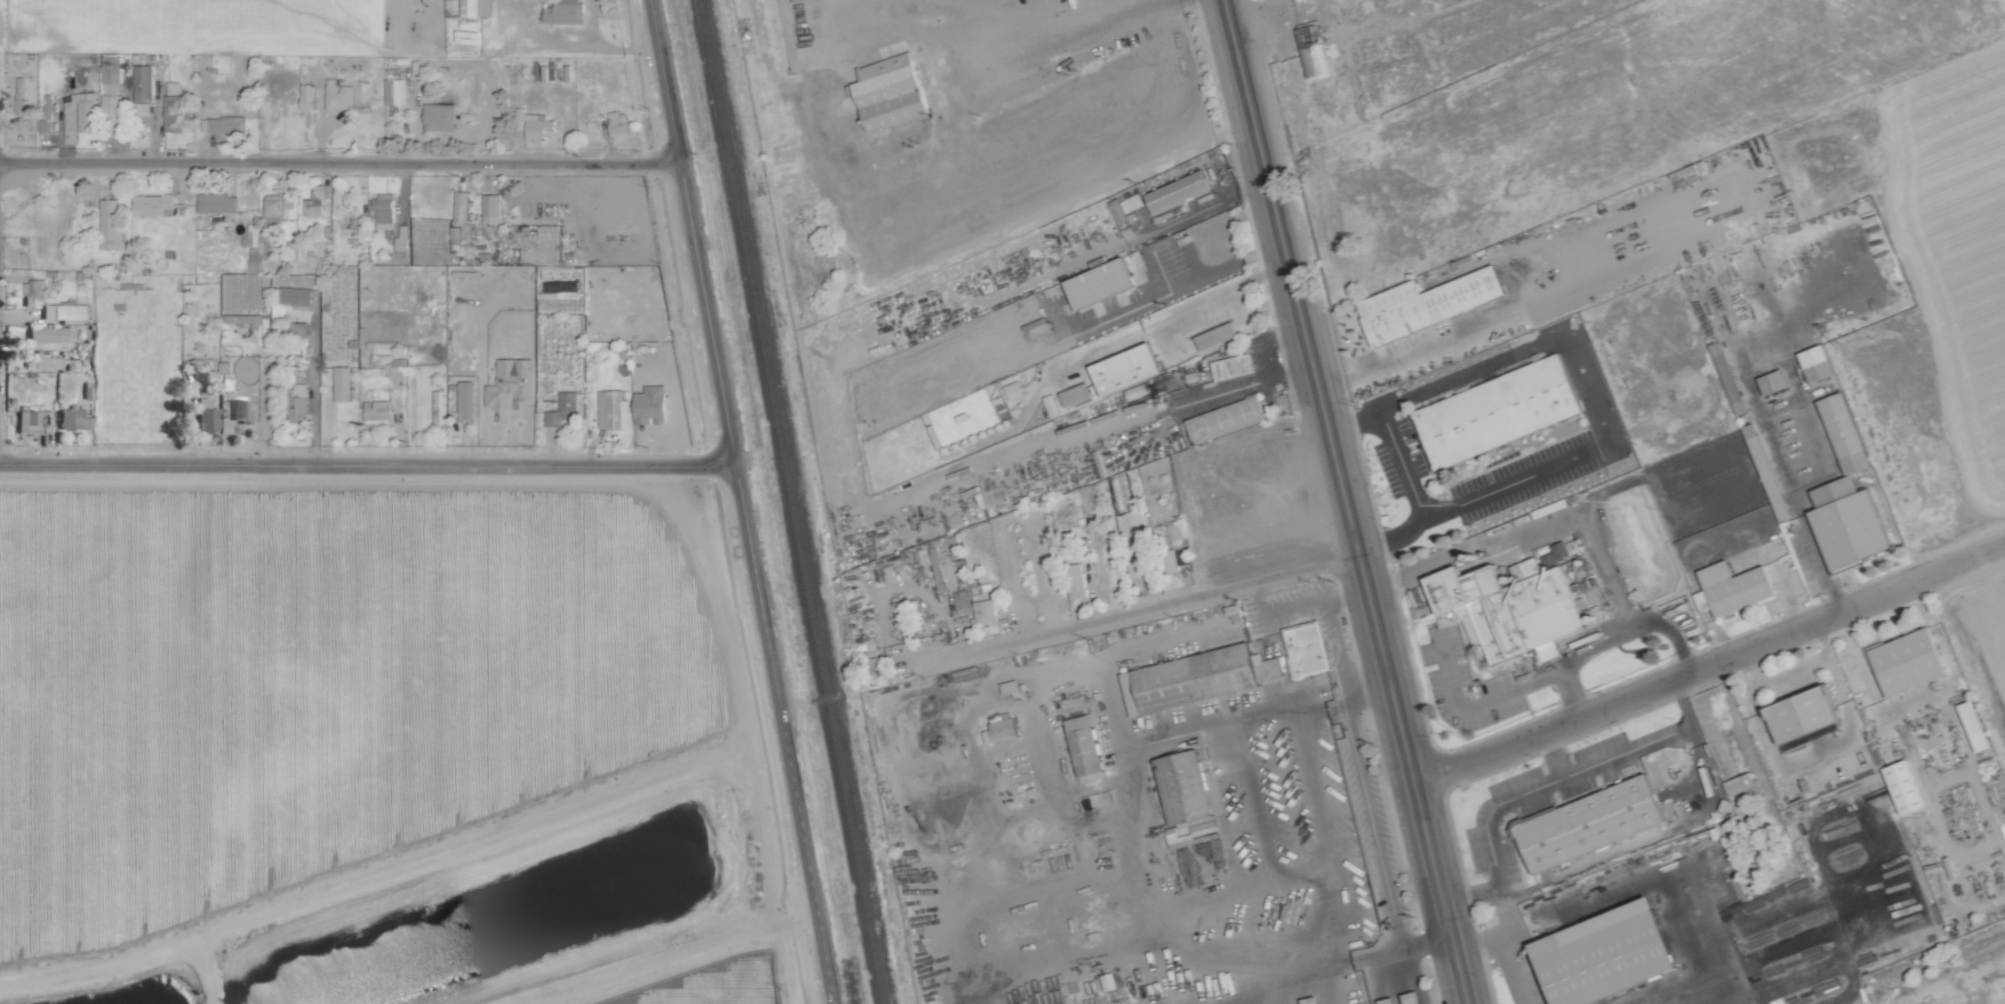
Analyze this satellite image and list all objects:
building: (477, 8)
building: (565, 12)
road: (1050, 36)
building: (1312, 50)
building: (145, 89)
building: (396, 91)
building: (892, 92)
building: (340, 94)
building: (21, 95)
building: (309, 96)
building: (174, 107)
building: (88, 111)
building: (52, 112)
building: (440, 116)
building: (620, 123)
building: (224, 125)
building: (539, 126)
road: (339, 162)
building: (1180, 191)
building: (218, 203)
building: (153, 204)
building: (314, 205)
building: (461, 205)
building: (274, 206)
building: (1125, 207)
building: (492, 208)
building: (385, 210)
building: (111, 224)
road: (691, 233)
building: (403, 236)
building: (259, 251)
building: (1104, 281)
building: (298, 297)
building: (1429, 303)
building: (54, 305)
road: (1254, 311)
road: (1168, 315)
building: (243, 318)
building: (53, 335)
building: (1217, 335)
road: (1574, 347)
building: (43, 363)
building: (1819, 363)
building: (1233, 366)
building: (1130, 369)
building: (226, 376)
building: (1730, 377)
building: (512, 382)
building: (1777, 382)
building: (344, 383)
road: (1434, 385)
building: (1015, 390)
road: (1317, 390)
building: (1076, 394)
building: (467, 399)
building: (301, 401)
building: (437, 407)
building: (563, 409)
building: (614, 410)
building: (1503, 410)
building: (242, 411)
building: (380, 412)
building: (207, 416)
building: (74, 419)
building: (1227, 419)
building: (28, 421)
building: (1847, 433)
road: (1392, 437)
road: (1587, 451)
road: (366, 466)
road: (1652, 476)
railway: (792, 502)
road: (1459, 506)
building: (1852, 523)
road: (1533, 525)
building: (1139, 567)
building: (1076, 581)
building: (1733, 590)
building: (964, 598)
building: (1515, 605)
building: (986, 611)
road: (1142, 611)
road: (1610, 641)
building: (1309, 648)
building: (1912, 662)
road: (1708, 663)
building: (1198, 678)
road: (1478, 706)
building: (1808, 715)
building: (1975, 726)
building: (1006, 727)
road: (783, 735)
road: (1655, 744)
building: (1087, 745)
road: (1814, 755)
building: (1741, 784)
building: (1187, 787)
building: (1906, 787)
road: (1489, 814)
building: (1592, 824)
building: (968, 891)
road: (1439, 893)
road: (1505, 950)
building: (1612, 953)
road: (685, 958)

